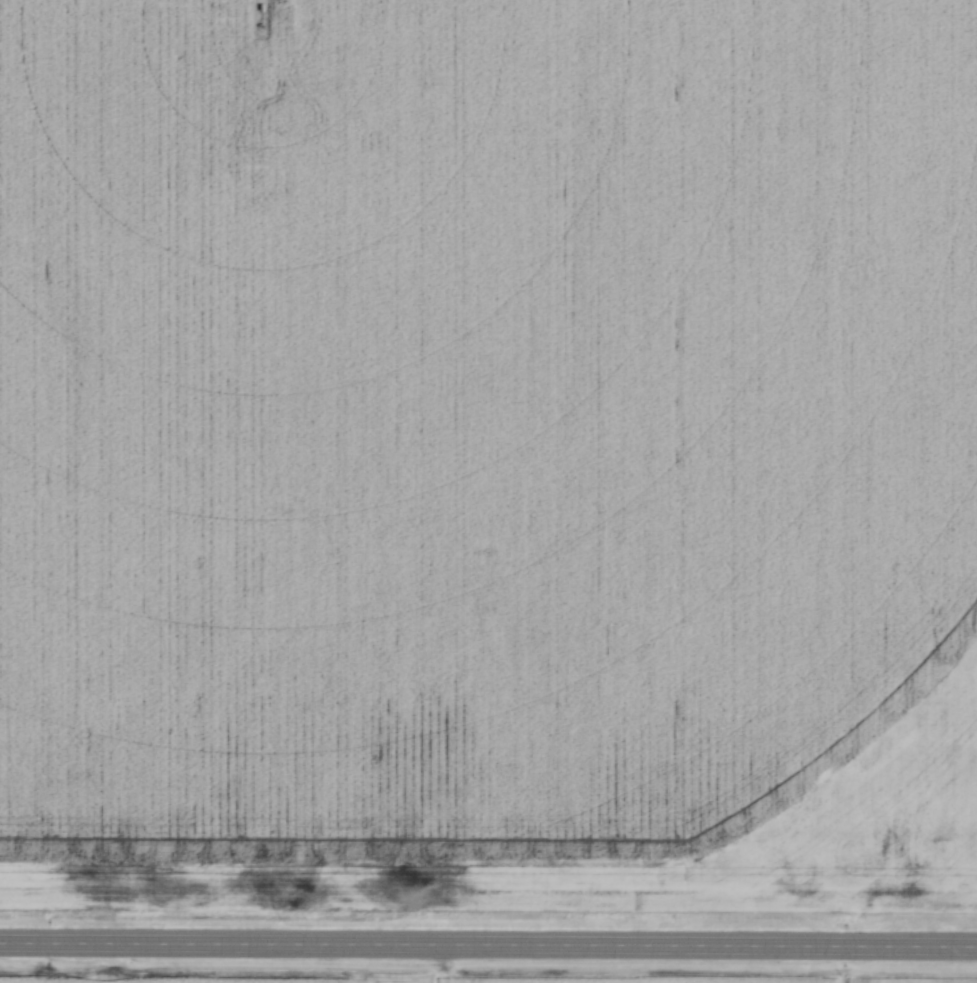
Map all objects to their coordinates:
road: (488, 940)

